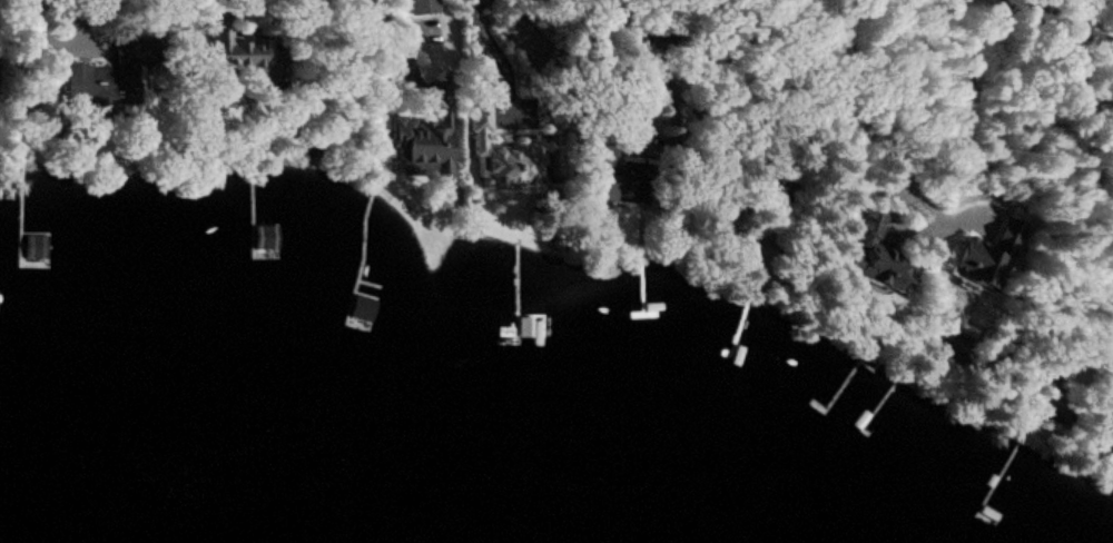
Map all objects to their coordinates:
building: (422, 9)
road: (1067, 19)
building: (242, 53)
road: (674, 78)
building: (100, 82)
building: (420, 145)
building: (878, 254)
building: (986, 257)

